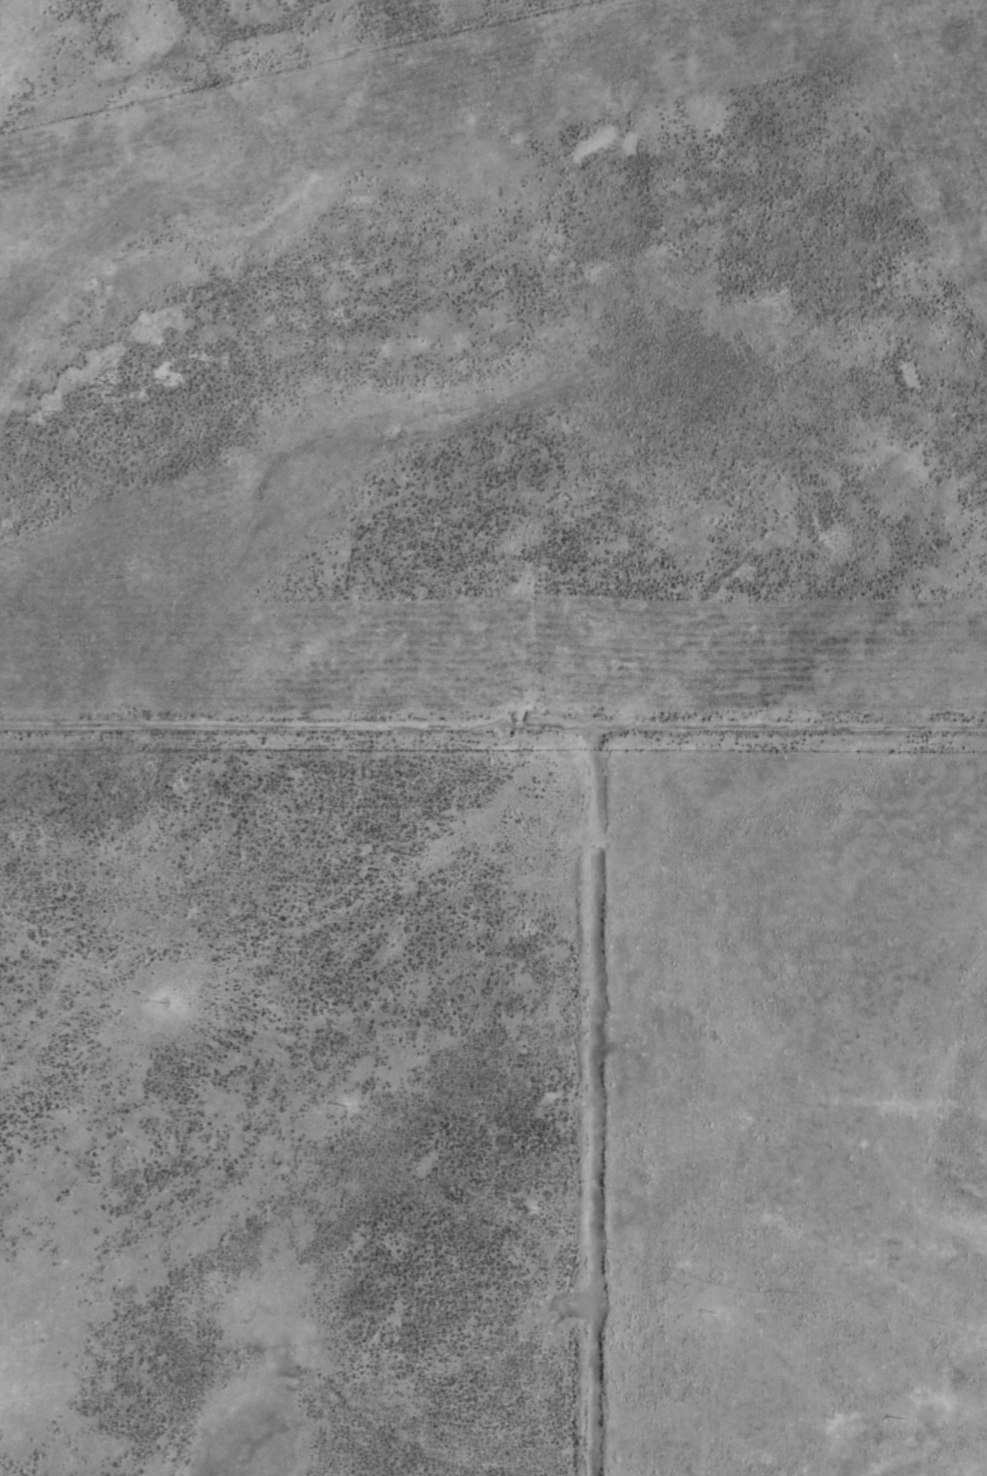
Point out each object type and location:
crop: (493, 738)

